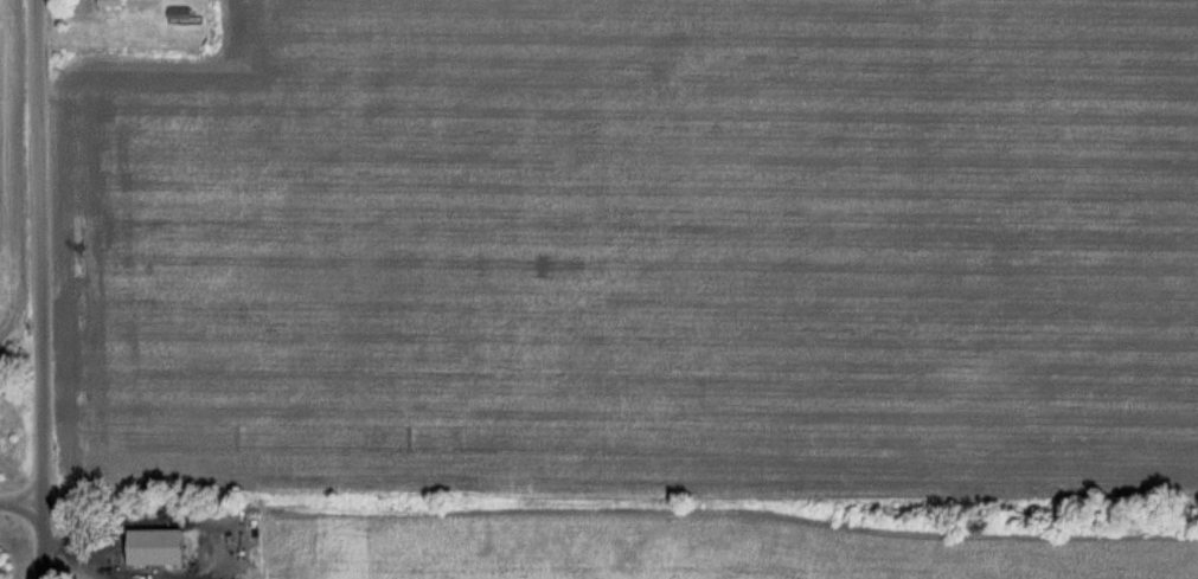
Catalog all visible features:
building: (132, 1)
road: (41, 289)
road: (21, 503)

